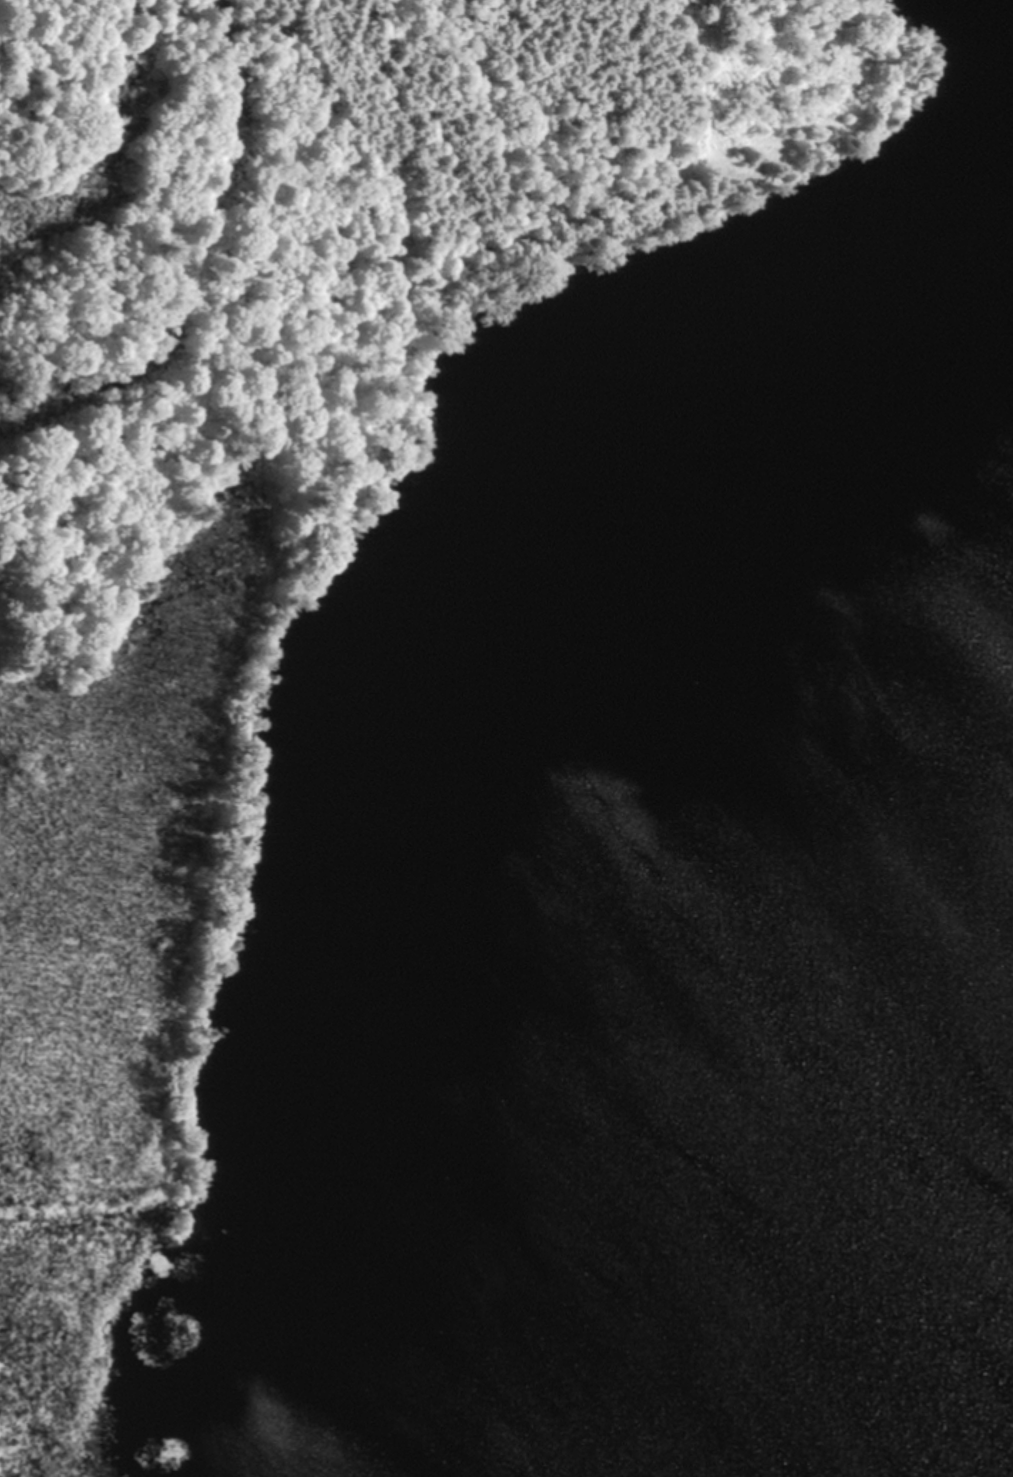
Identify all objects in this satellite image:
road: (601, 103)

